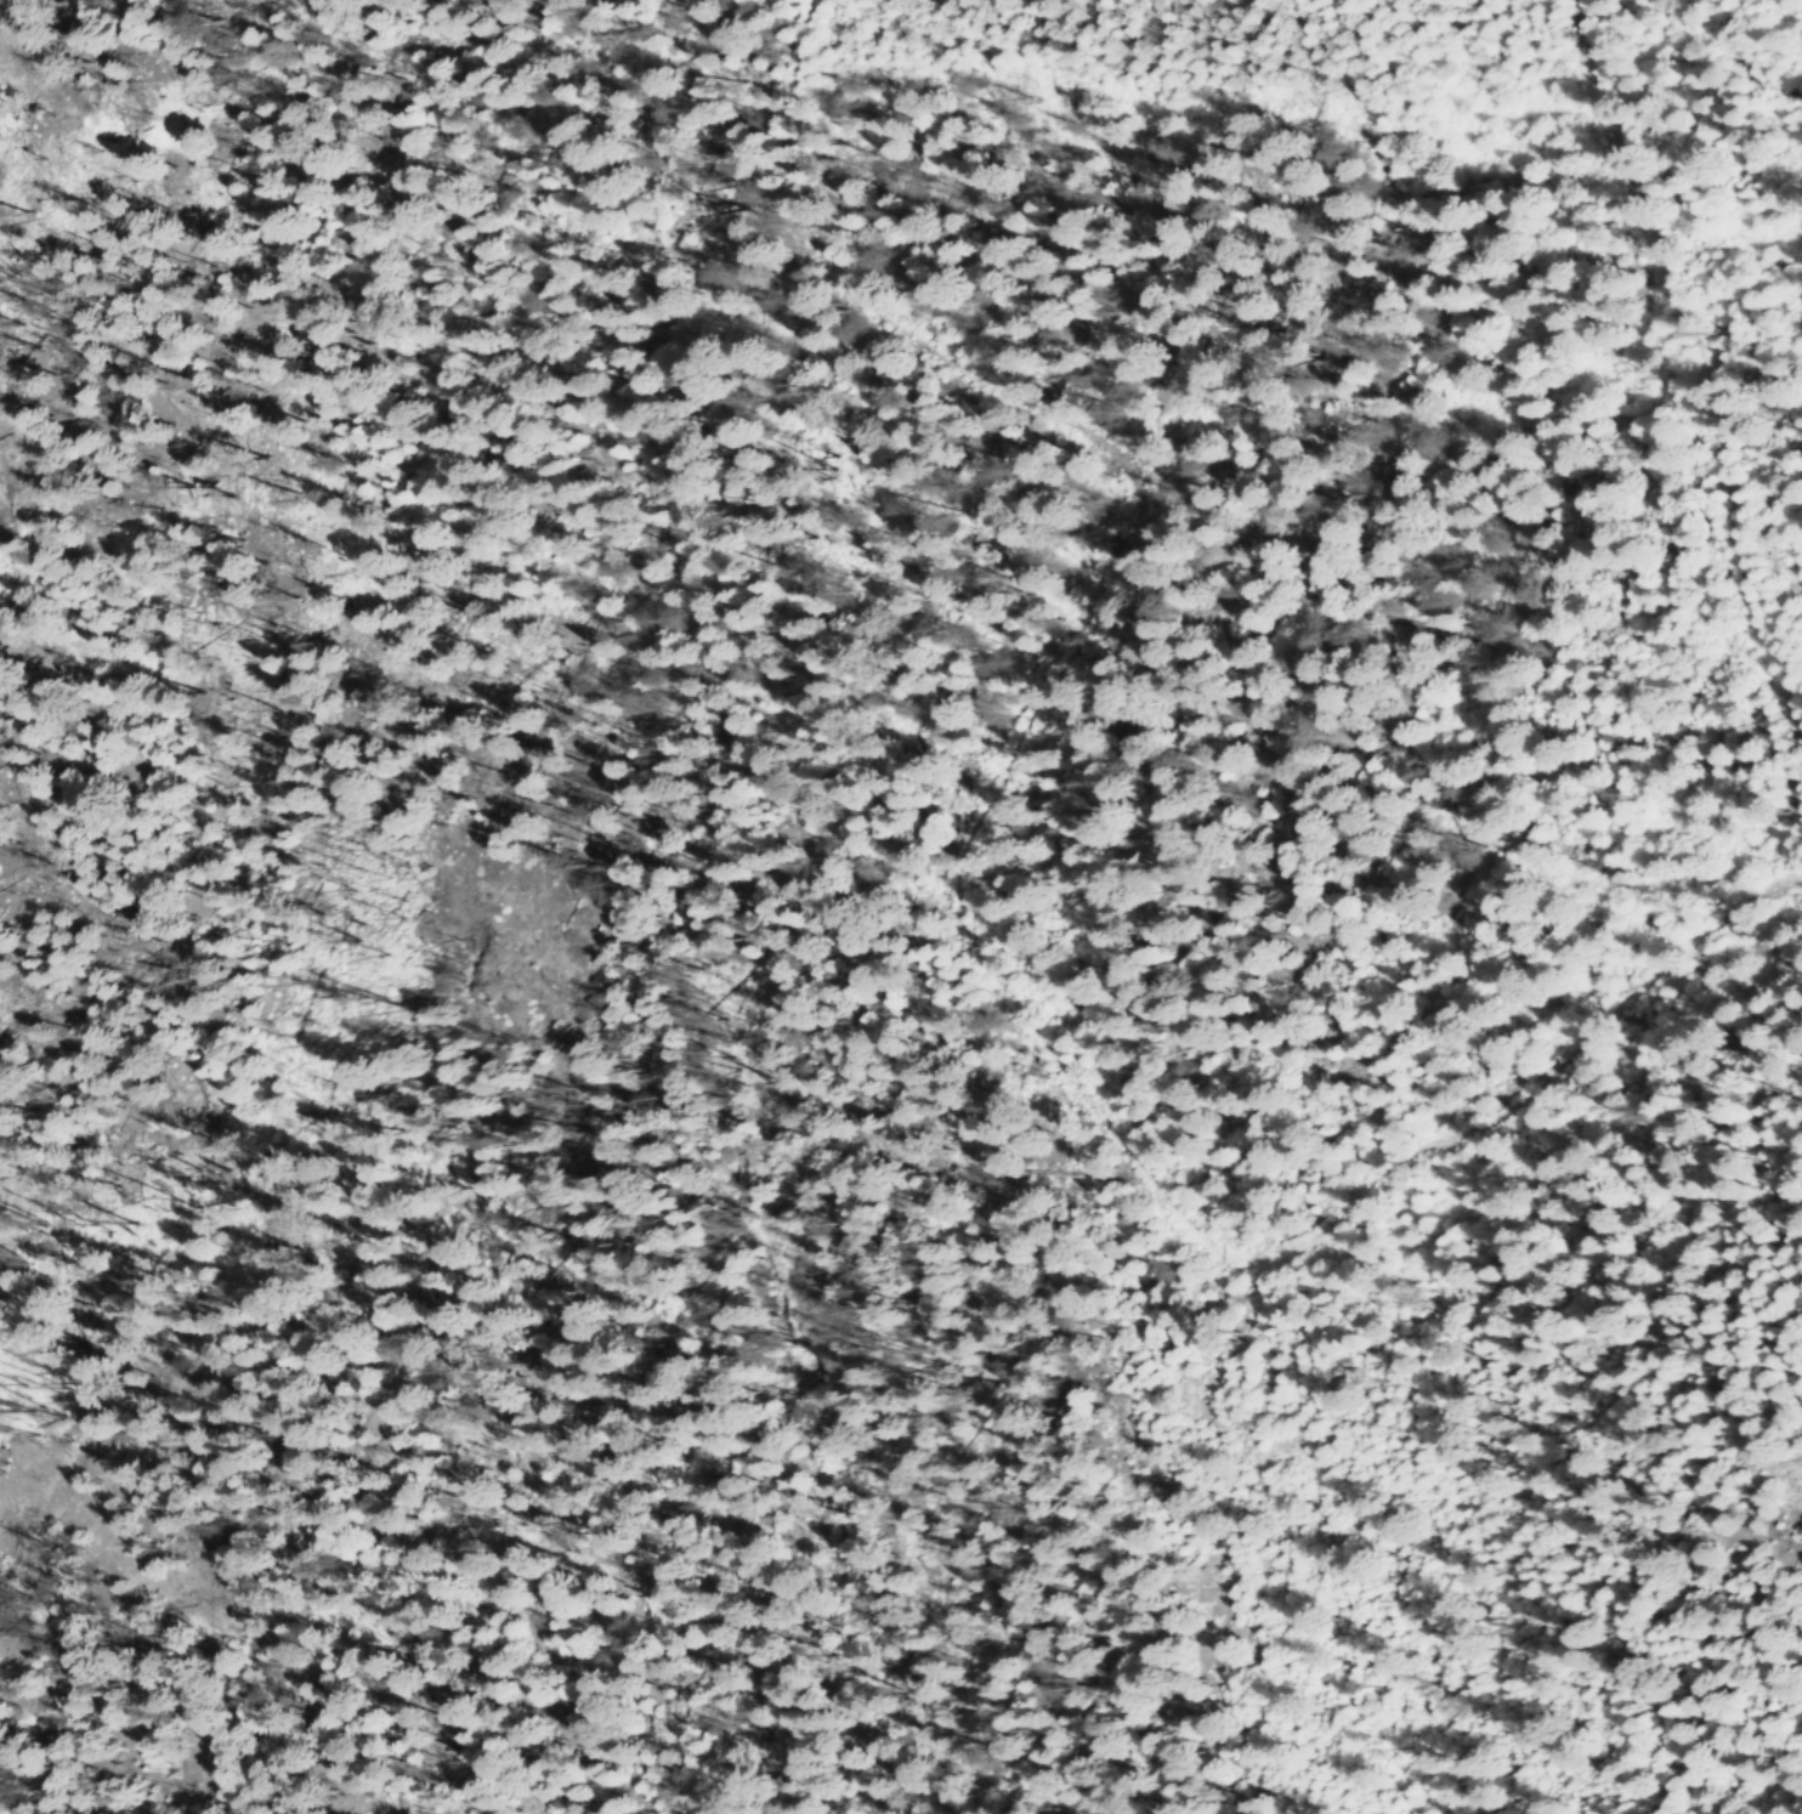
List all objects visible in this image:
road: (1701, 351)

